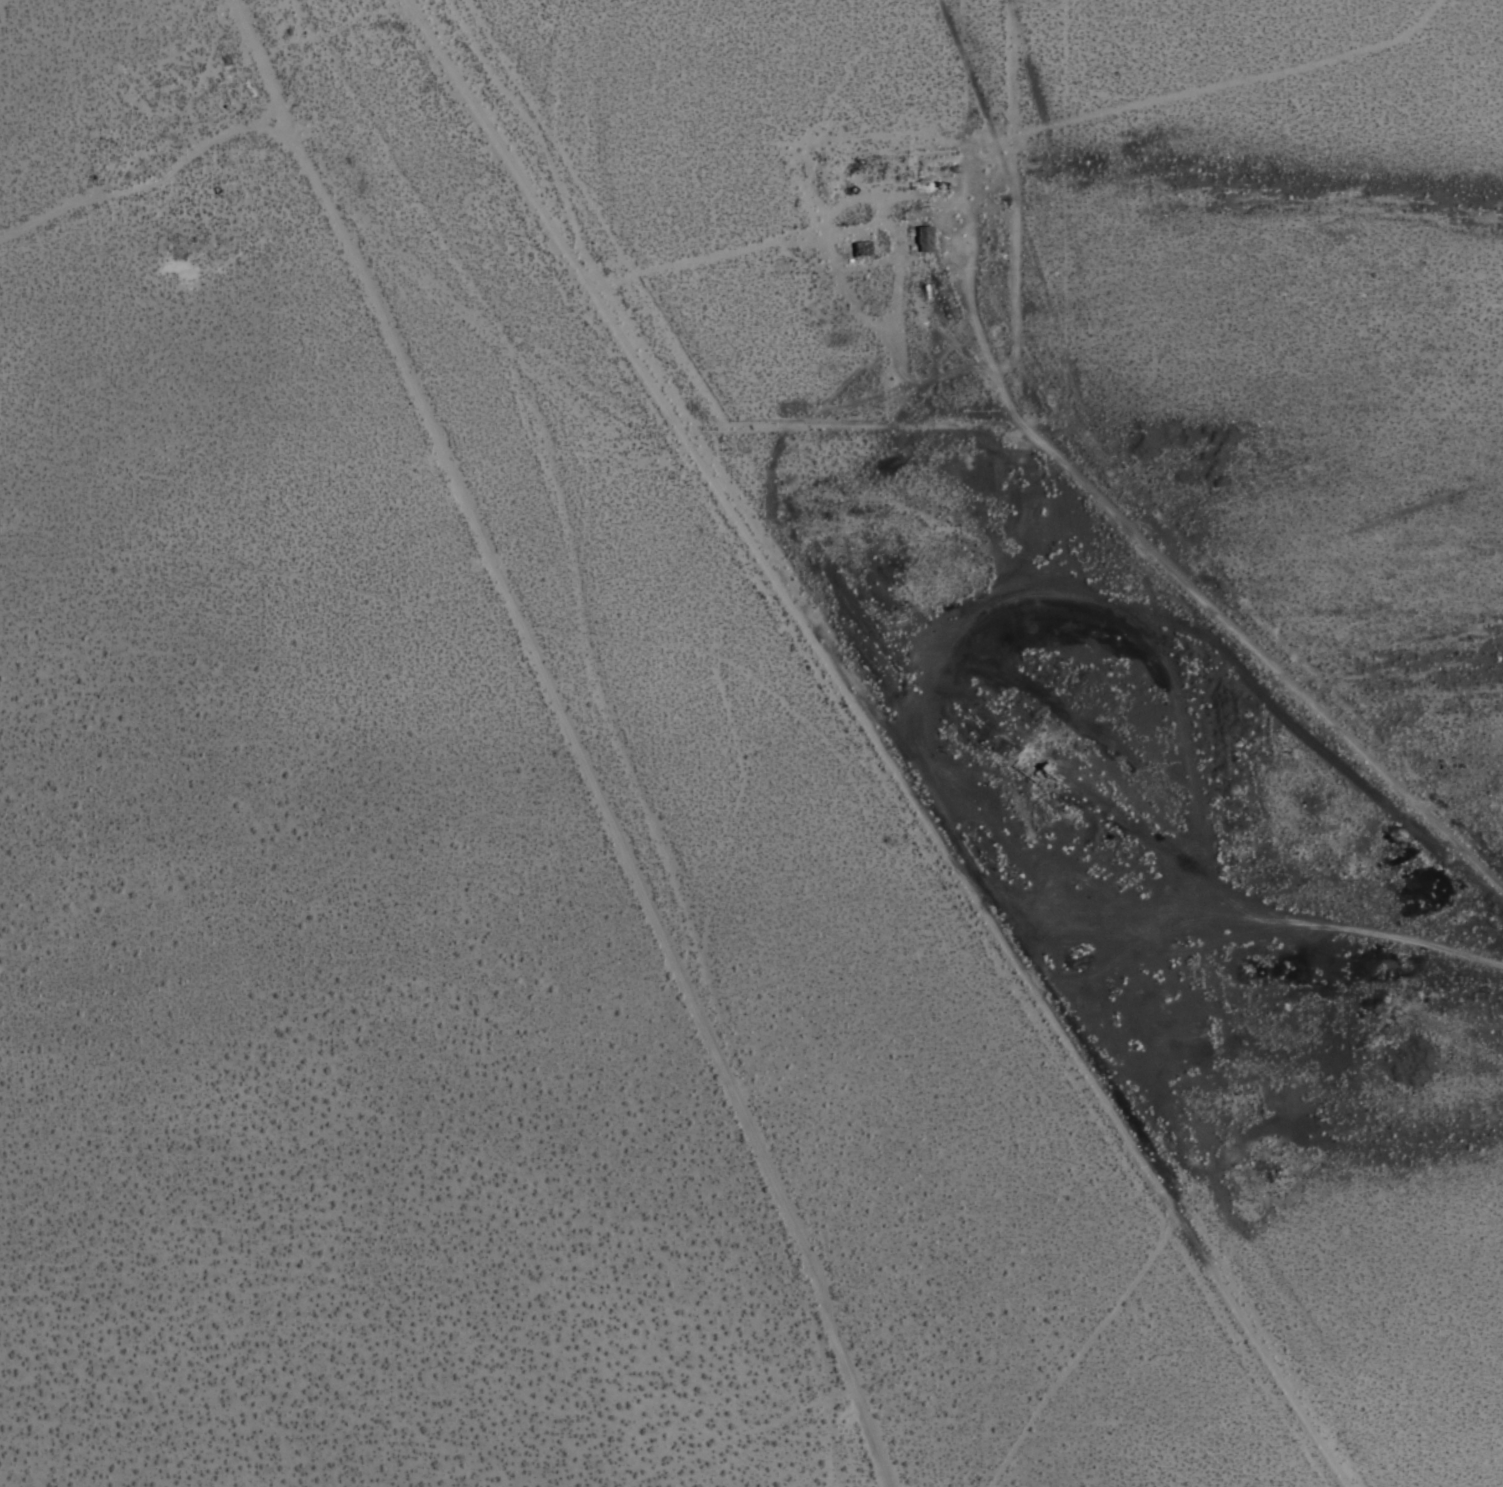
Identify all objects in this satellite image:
road: (5, 5)
road: (152, 178)
building: (919, 236)
building: (861, 247)
road: (1223, 641)
road: (586, 737)
road: (1291, 918)
road: (1088, 1350)

